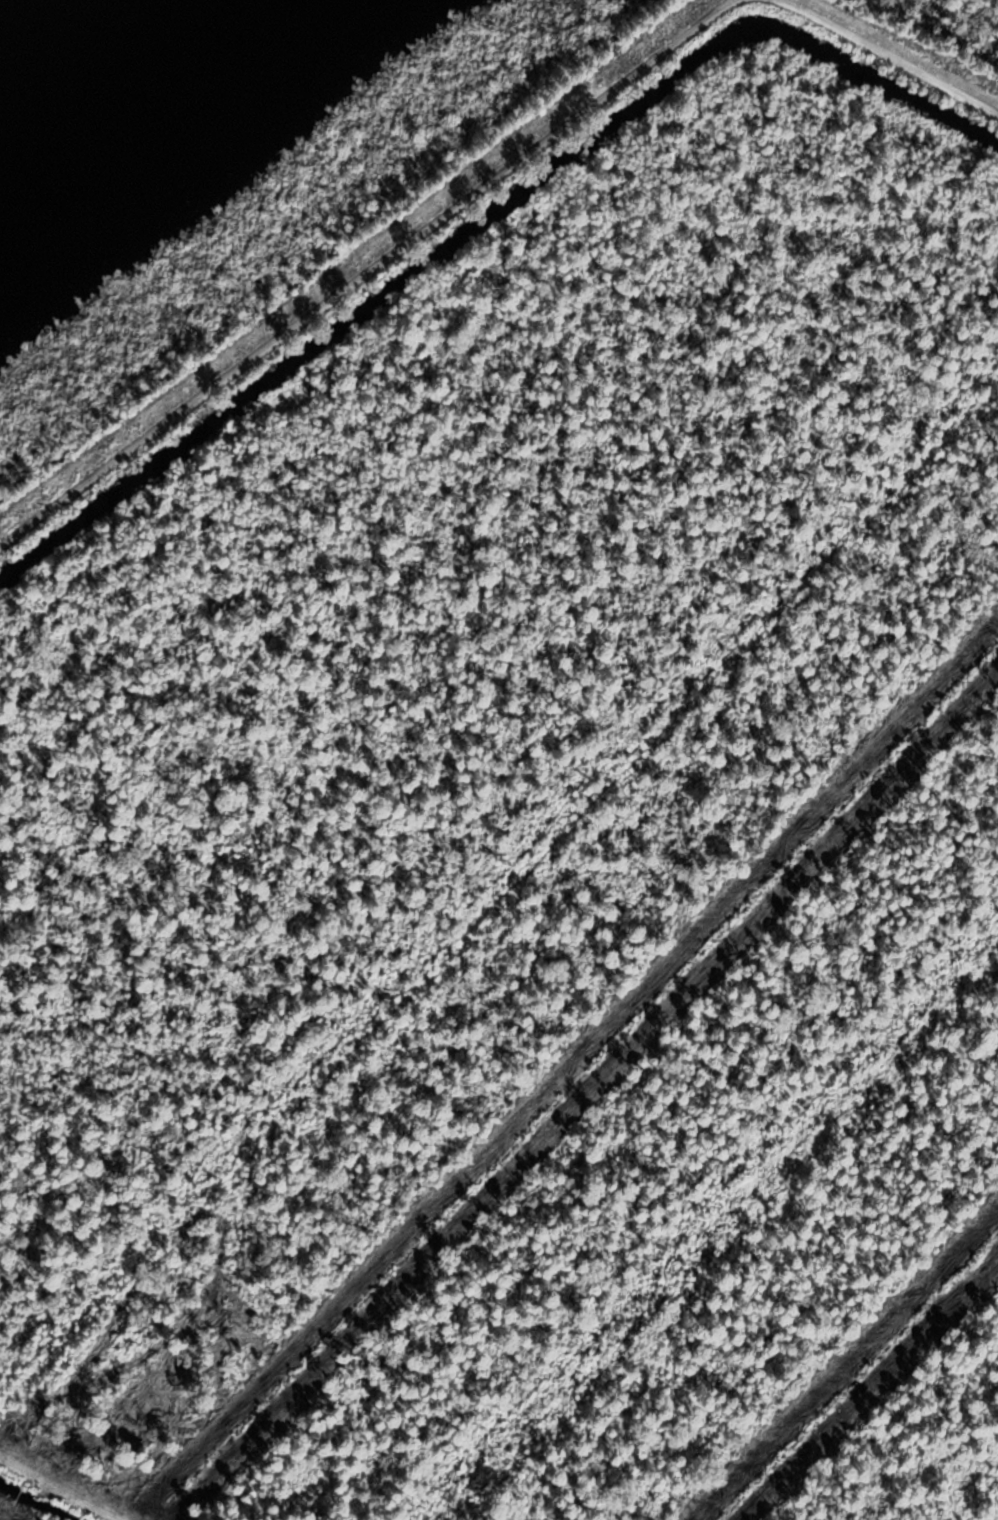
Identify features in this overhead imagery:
road: (882, 58)
road: (369, 265)
road: (0, 1519)

